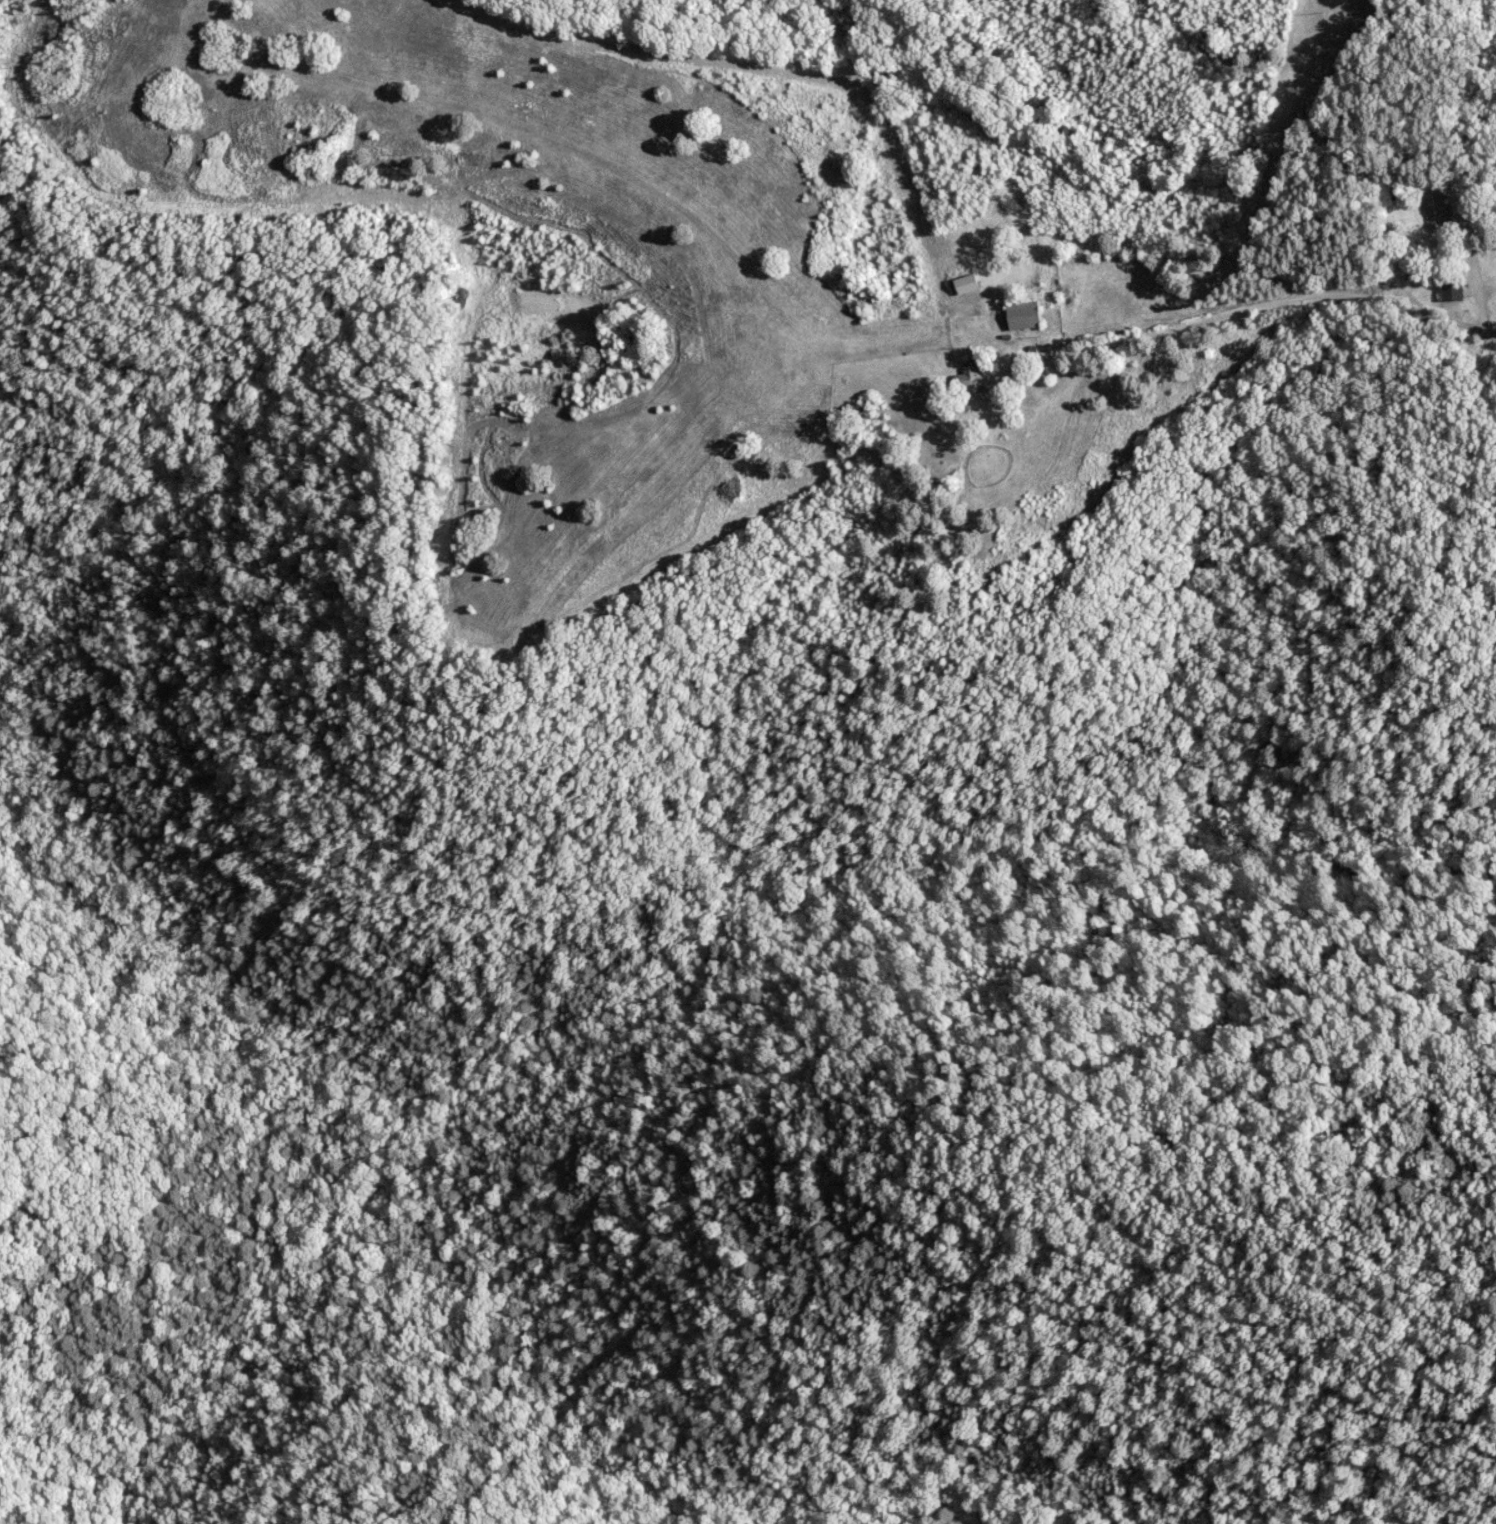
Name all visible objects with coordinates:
road: (1298, 166)
building: (1433, 210)
building: (1451, 289)
road: (1301, 299)
building: (1018, 314)

